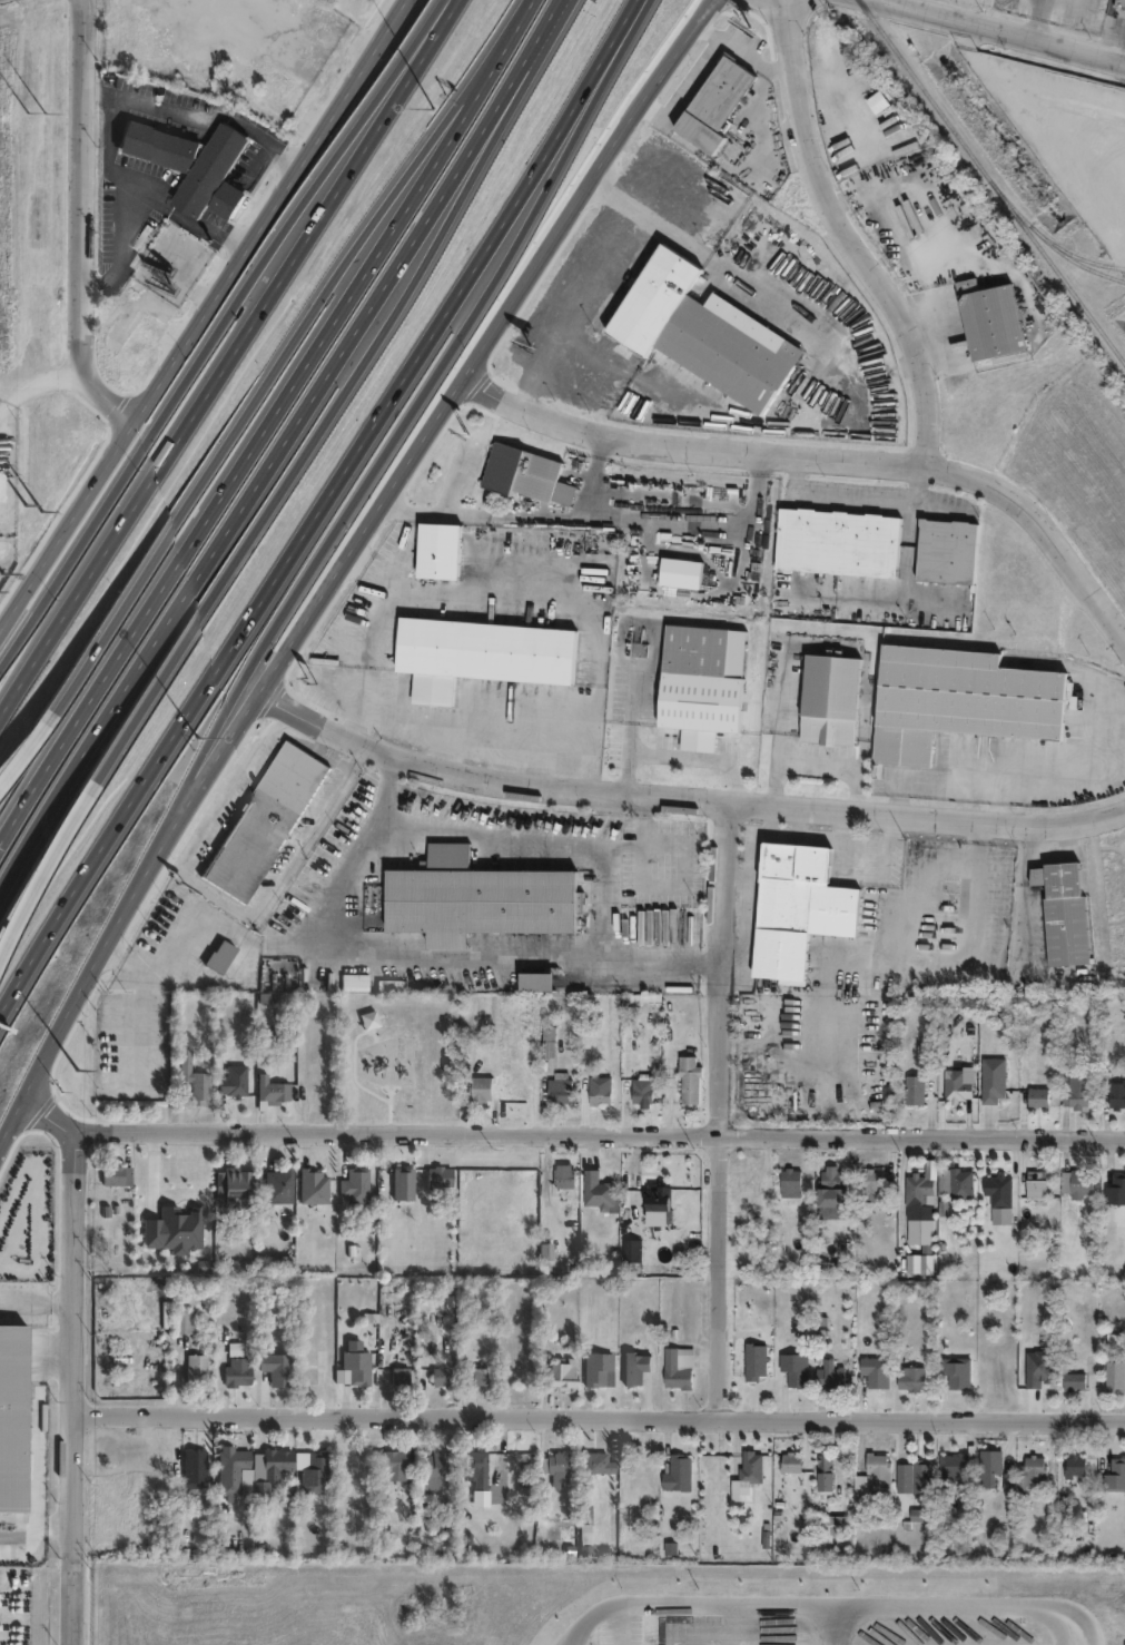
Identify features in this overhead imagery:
building: (1122, 3)
power tower: (37, 12)
road: (1032, 17)
road: (698, 22)
road: (1006, 30)
road: (709, 32)
road: (512, 33)
road: (621, 37)
road: (537, 49)
road: (708, 58)
road: (1026, 87)
road: (91, 90)
road: (754, 93)
road: (838, 98)
building: (881, 102)
building: (717, 104)
building: (296, 112)
road: (215, 115)
road: (109, 130)
road: (767, 137)
road: (1091, 161)
building: (195, 164)
railway: (990, 183)
road: (181, 216)
road: (83, 223)
road: (855, 232)
road: (117, 237)
road: (736, 262)
road: (914, 263)
road: (600, 265)
building: (223, 272)
road: (91, 280)
power tower: (36, 302)
road: (207, 317)
building: (994, 319)
road: (234, 326)
building: (703, 331)
road: (470, 347)
building: (169, 349)
road: (40, 377)
road: (243, 378)
road: (260, 390)
building: (146, 416)
road: (403, 432)
road: (823, 449)
road: (305, 450)
road: (244, 456)
building: (526, 472)
road: (594, 472)
building: (1, 485)
road: (248, 494)
road: (859, 504)
road: (596, 520)
road: (286, 540)
building: (842, 542)
building: (442, 550)
building: (951, 551)
road: (905, 583)
road: (570, 604)
road: (930, 604)
road: (811, 641)
building: (483, 654)
building: (702, 686)
building: (835, 700)
building: (963, 700)
road: (866, 705)
road: (323, 726)
road: (779, 728)
road: (631, 731)
road: (22, 755)
road: (698, 758)
road: (833, 771)
road: (759, 800)
road: (800, 820)
building: (265, 824)
road: (841, 824)
road: (535, 837)
road: (809, 837)
road: (41, 875)
road: (333, 876)
road: (127, 893)
road: (219, 897)
building: (480, 899)
road: (748, 903)
building: (796, 907)
building: (1064, 909)
building: (221, 957)
road: (555, 959)
road: (967, 972)
building: (536, 977)
building: (354, 978)
building: (549, 1033)
park: (397, 1055)
building: (182, 1062)
building: (689, 1076)
building: (995, 1076)
building: (233, 1078)
building: (959, 1084)
building: (559, 1085)
building: (199, 1086)
building: (481, 1086)
building: (916, 1087)
building: (269, 1089)
building: (641, 1089)
building: (1113, 1090)
building: (598, 1093)
building: (1040, 1094)
building: (1078, 1096)
road: (726, 1107)
road: (41, 1125)
road: (599, 1136)
building: (116, 1173)
building: (436, 1174)
building: (564, 1175)
building: (871, 1178)
building: (833, 1179)
building: (791, 1180)
building: (957, 1180)
building: (402, 1182)
building: (1079, 1182)
building: (237, 1183)
building: (276, 1183)
building: (353, 1183)
building: (1038, 1183)
building: (312, 1184)
building: (918, 1186)
building: (1000, 1188)
building: (1116, 1188)
building: (598, 1189)
building: (658, 1196)
building: (176, 1225)
building: (921, 1232)
building: (632, 1249)
building: (275, 1265)
road: (39, 1301)
building: (184, 1322)
building: (227, 1326)
building: (756, 1359)
building: (680, 1365)
building: (356, 1366)
building: (598, 1367)
building: (797, 1367)
building: (275, 1368)
building: (958, 1368)
building: (195, 1369)
building: (634, 1370)
building: (877, 1370)
building: (235, 1371)
building: (831, 1372)
building: (309, 1373)
building: (399, 1373)
building: (440, 1373)
building: (1115, 1373)
building: (480, 1375)
building: (561, 1375)
building: (912, 1375)
building: (1075, 1380)
road: (79, 1391)
road: (602, 1417)
building: (13, 1420)
road: (37, 1440)
building: (990, 1460)
building: (436, 1461)
building: (598, 1461)
building: (791, 1461)
building: (392, 1464)
building: (274, 1465)
building: (751, 1465)
building: (955, 1465)
building: (476, 1466)
building: (194, 1467)
building: (1077, 1467)
building: (555, 1468)
building: (231, 1470)
building: (826, 1470)
building: (314, 1471)
building: (678, 1472)
building: (1033, 1472)
building: (1116, 1474)
building: (874, 1477)
building: (914, 1477)
building: (282, 1513)
building: (584, 1514)
building: (830, 1526)
building: (3, 1550)
road: (836, 1607)
road: (619, 1626)

